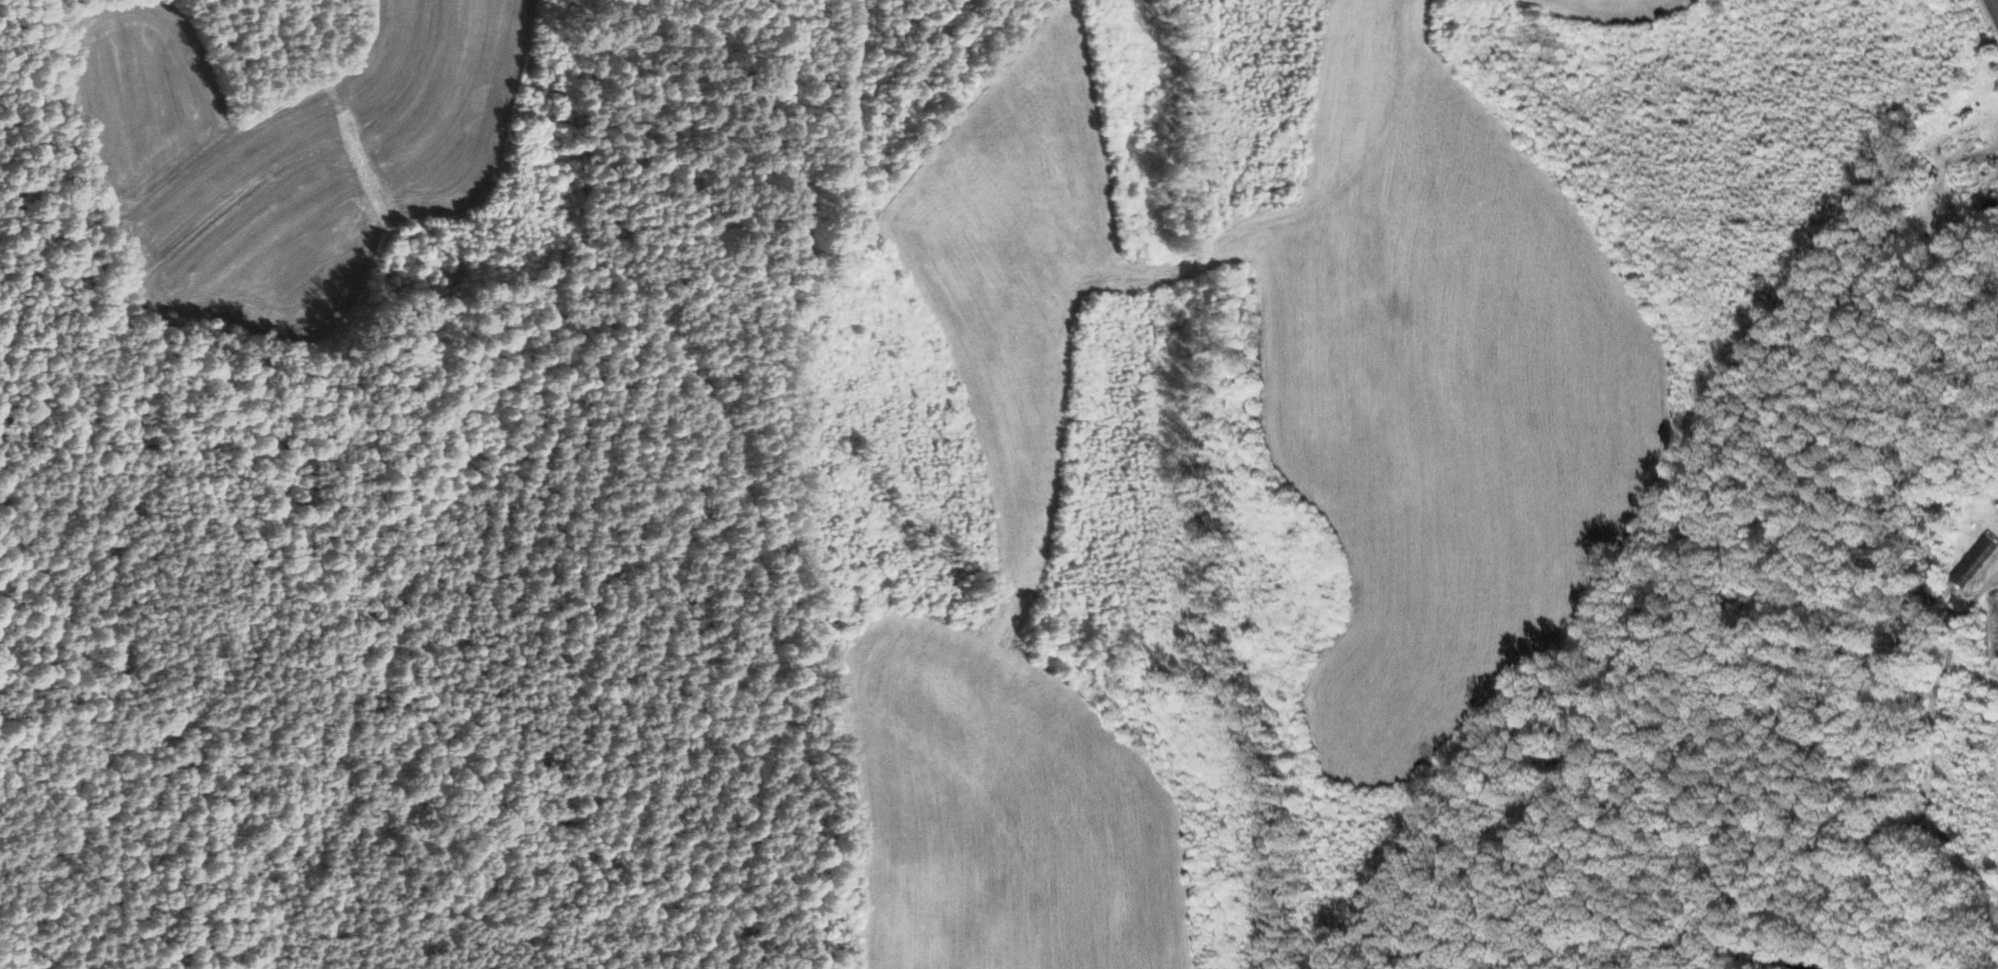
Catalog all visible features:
road: (1993, 8)
road: (1366, 160)
road: (1993, 577)
building: (1994, 622)

